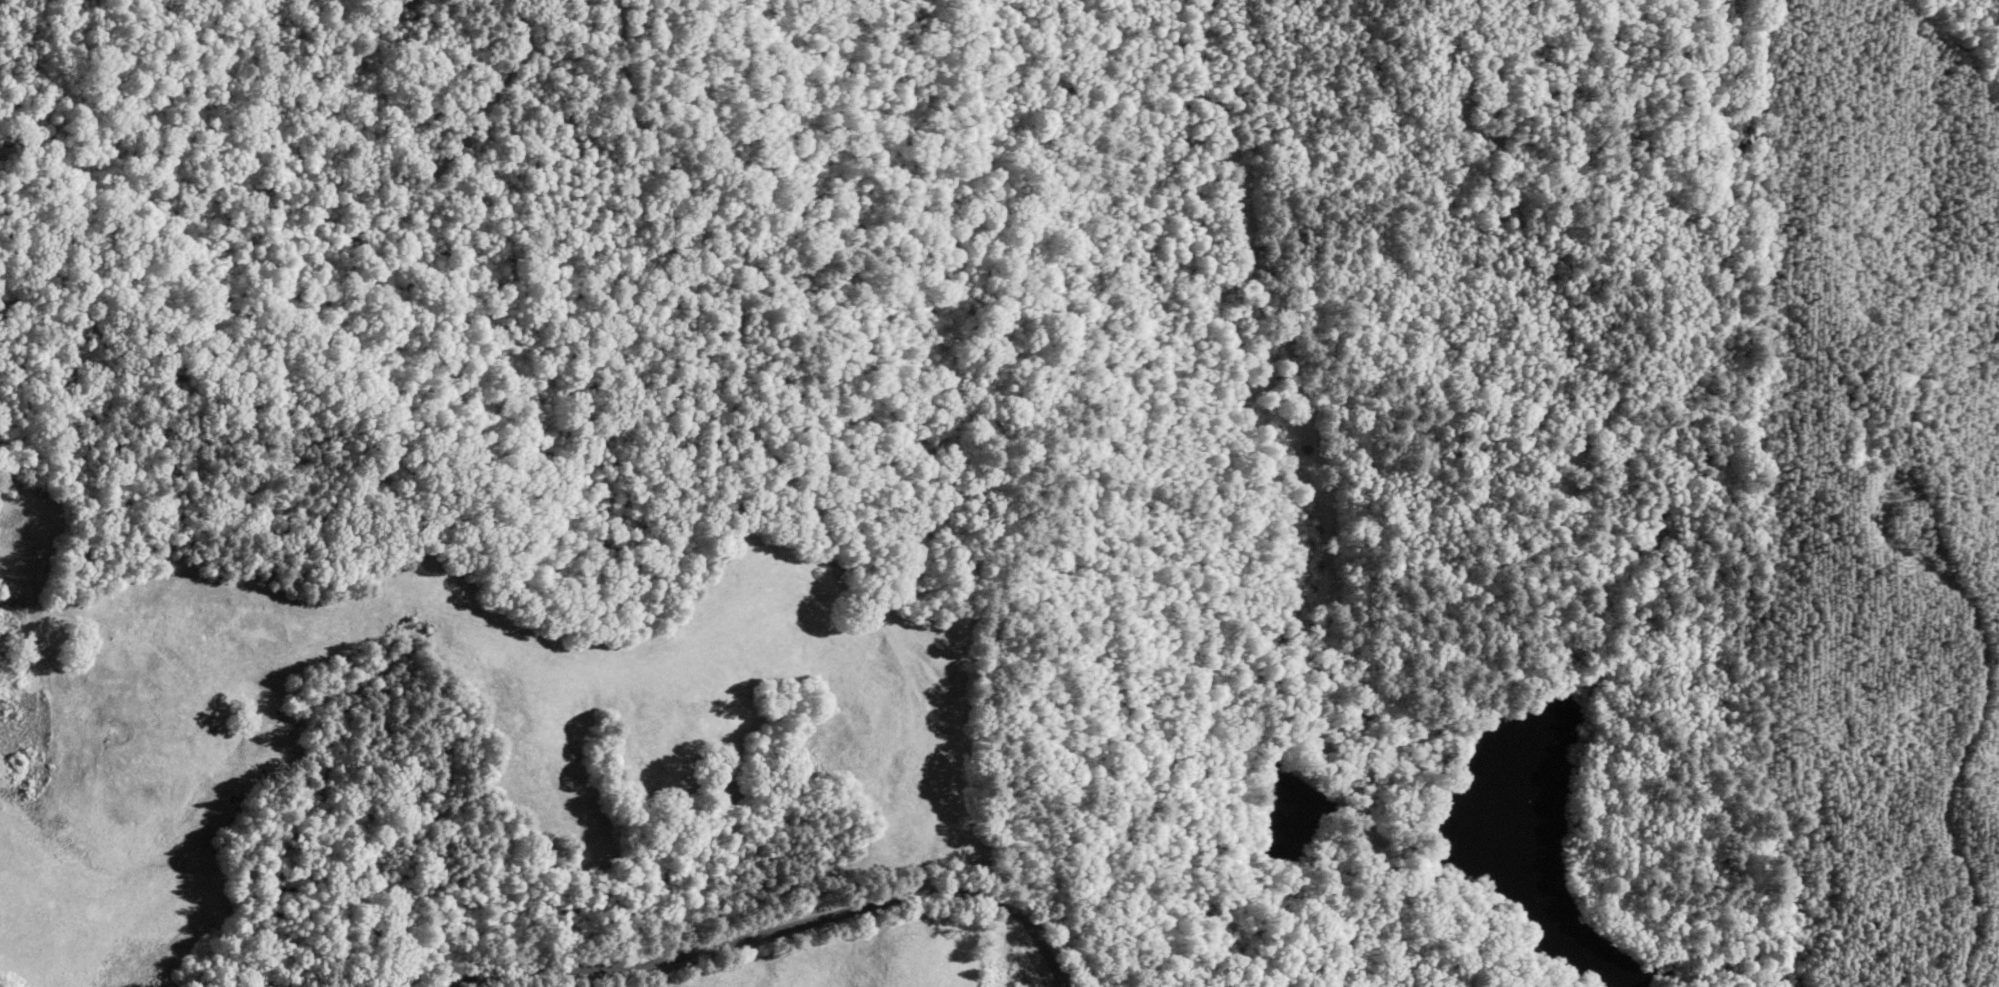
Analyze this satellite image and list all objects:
road: (774, 929)

